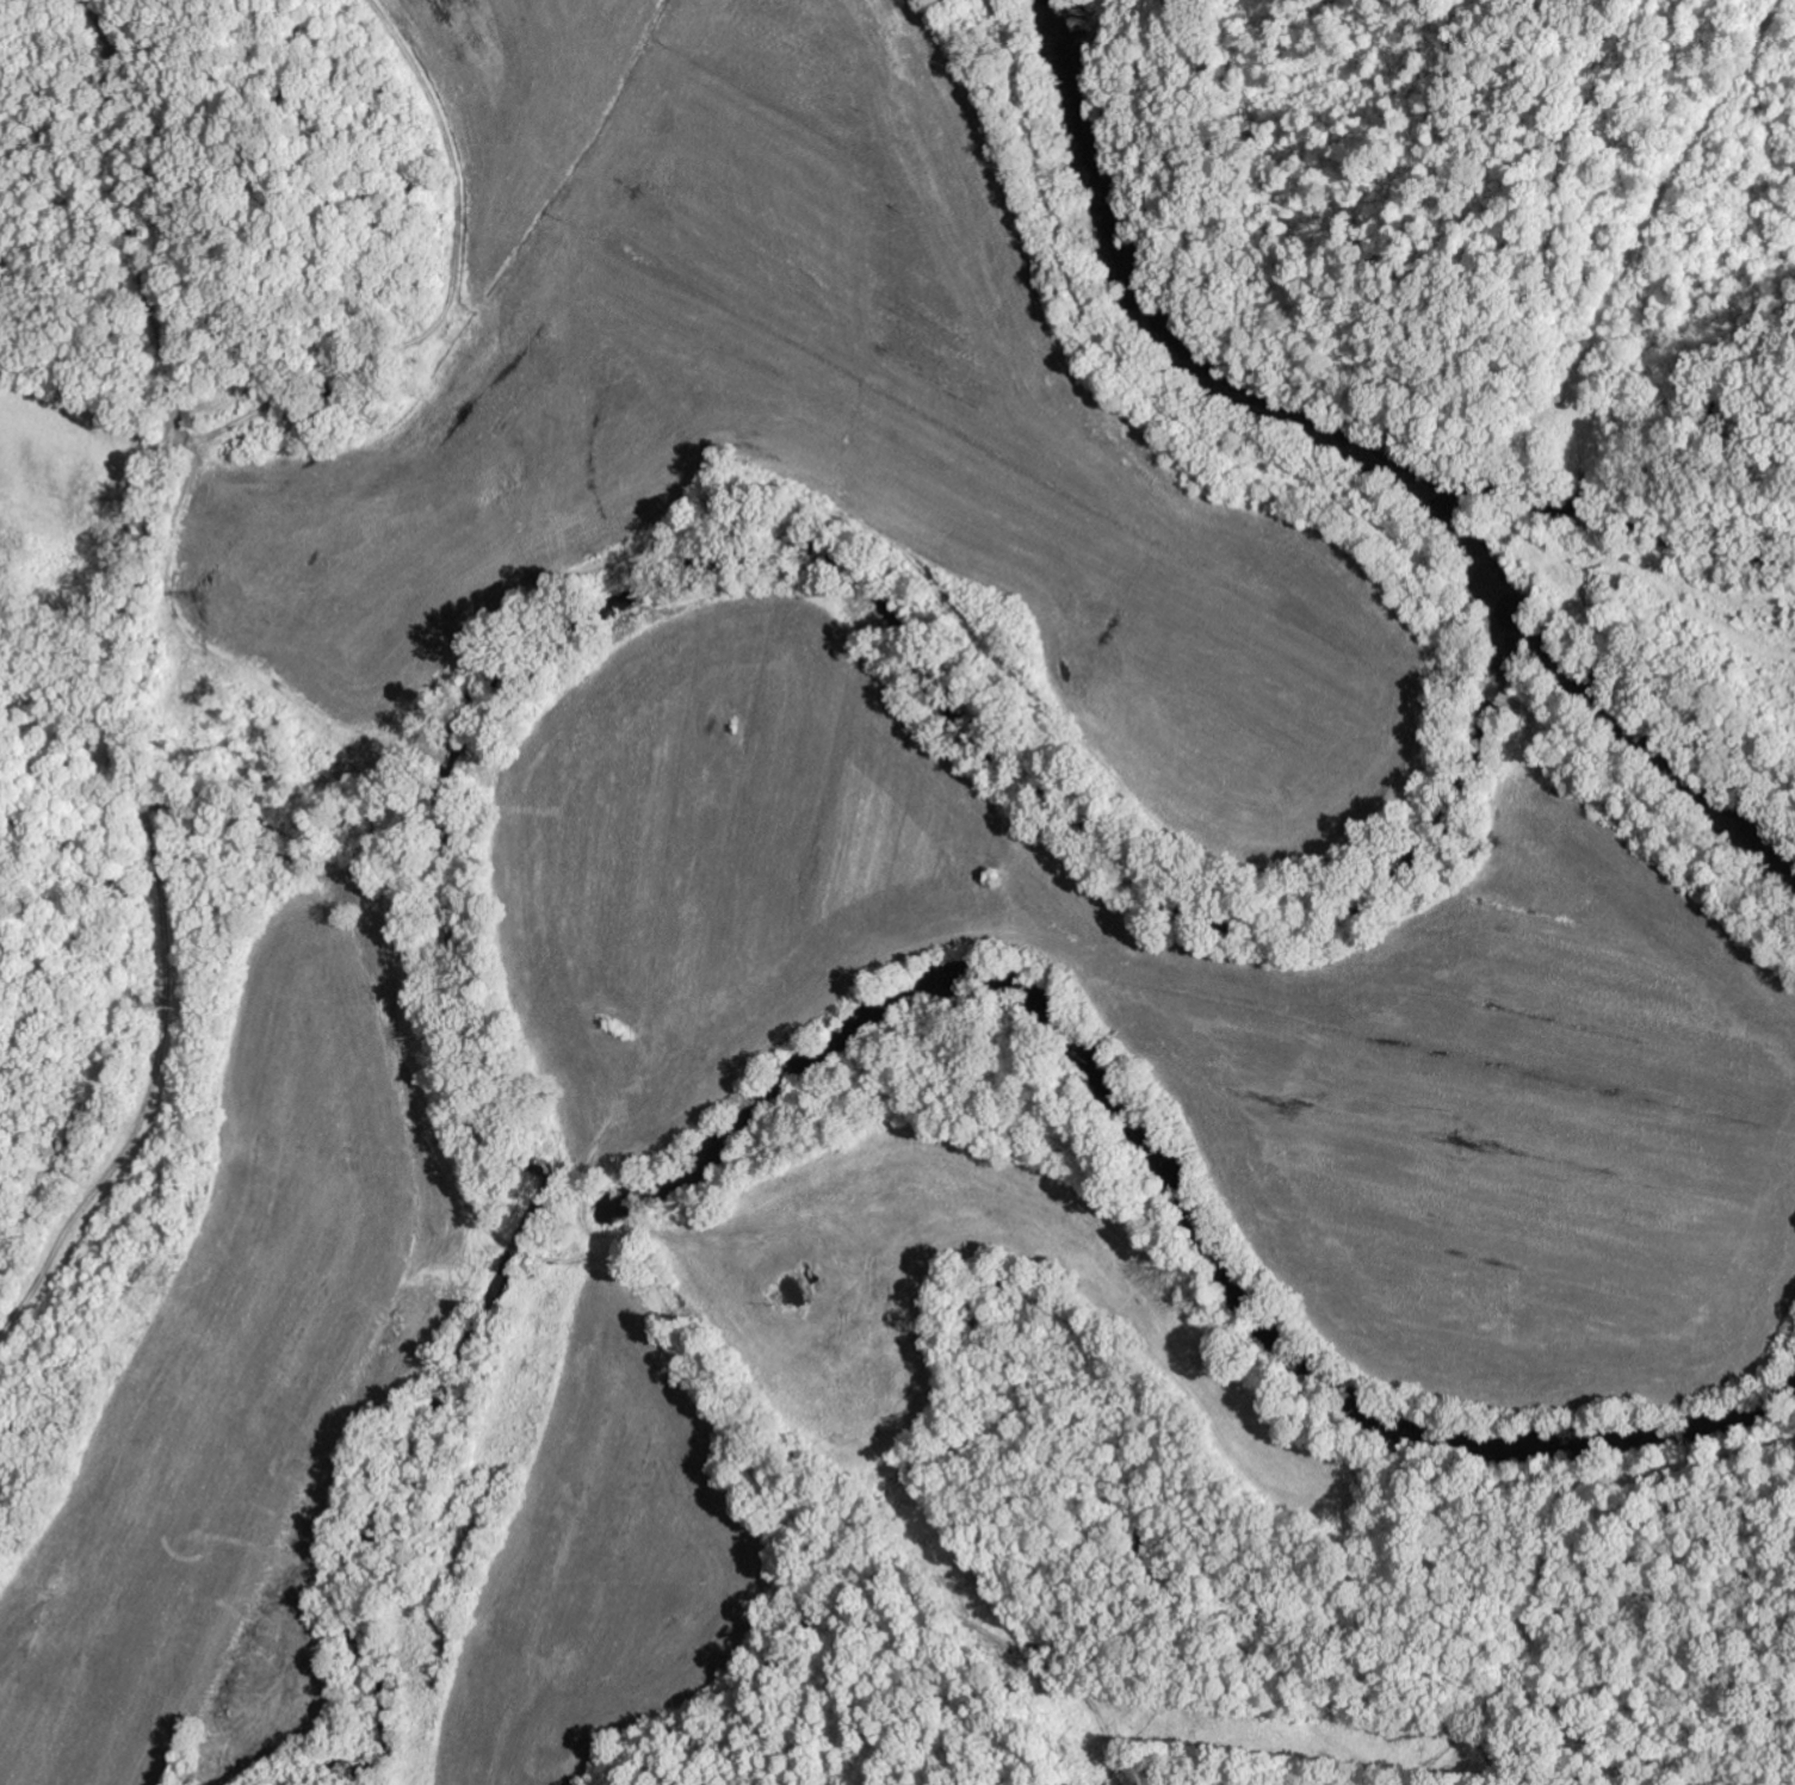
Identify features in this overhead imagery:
road: (1626, 190)
river: (1373, 452)
road: (154, 706)

